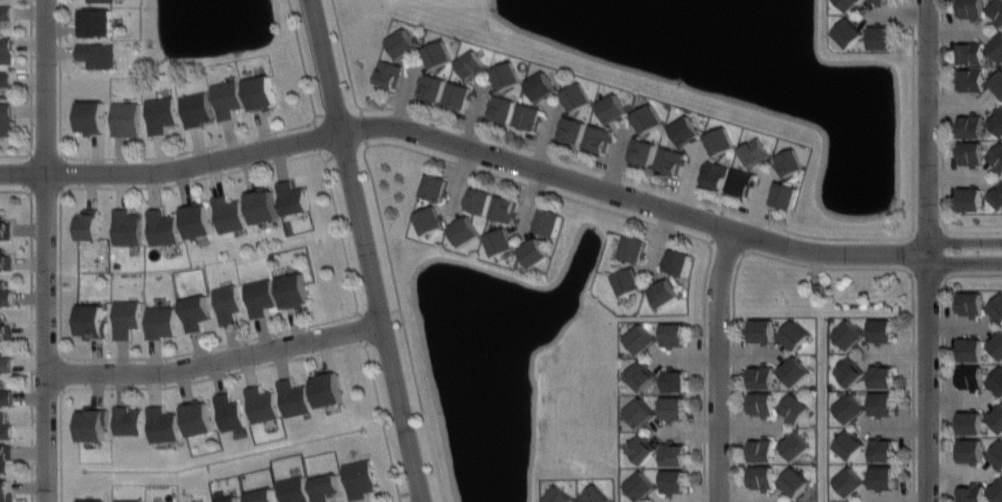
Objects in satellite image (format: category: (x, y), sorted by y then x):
building: (882, 0)
building: (102, 1)
building: (849, 4)
building: (971, 9)
building: (997, 10)
building: (6, 12)
building: (95, 21)
building: (849, 32)
building: (882, 37)
building: (403, 43)
building: (997, 47)
building: (5, 49)
building: (971, 52)
building: (439, 53)
building: (98, 54)
road: (301, 57)
building: (472, 65)
road: (60, 72)
building: (389, 73)
road: (30, 74)
building: (508, 75)
building: (5, 78)
building: (970, 80)
building: (997, 84)
building: (543, 86)
building: (433, 87)
building: (261, 92)
building: (460, 95)
building: (578, 97)
building: (227, 98)
building: (196, 108)
building: (503, 108)
building: (612, 108)
building: (161, 114)
building: (91, 116)
building: (530, 116)
building: (6, 118)
building: (126, 118)
building: (647, 118)
building: (997, 122)
building: (972, 126)
building: (572, 129)
building: (686, 130)
building: (599, 137)
building: (720, 140)
road: (942, 142)
road: (187, 150)
building: (643, 150)
building: (756, 151)
building: (971, 152)
road: (17, 154)
building: (997, 157)
road: (503, 158)
building: (671, 160)
building: (790, 162)
building: (715, 173)
building: (741, 182)
building: (436, 187)
road: (17, 190)
building: (785, 195)
building: (997, 196)
building: (292, 198)
road: (693, 198)
building: (971, 199)
building: (480, 201)
building: (263, 206)
building: (505, 208)
building: (227, 213)
building: (429, 219)
building: (198, 221)
building: (548, 222)
building: (89, 224)
road: (663, 226)
building: (127, 227)
building: (163, 227)
building: (6, 230)
building: (465, 230)
building: (500, 241)
building: (633, 248)
road: (47, 251)
road: (365, 251)
road: (929, 251)
building: (535, 252)
building: (6, 260)
building: (677, 262)
road: (815, 265)
building: (628, 281)
power substation: (817, 287)
building: (293, 289)
building: (663, 292)
building: (5, 294)
building: (260, 296)
building: (971, 303)
building: (227, 304)
building: (996, 309)
building: (195, 312)
building: (127, 318)
road: (332, 319)
building: (160, 320)
building: (91, 321)
road: (403, 321)
building: (762, 330)
building: (882, 330)
building: (6, 331)
building: (672, 334)
building: (850, 334)
building: (794, 335)
building: (640, 339)
building: (997, 345)
building: (972, 349)
road: (31, 350)
road: (216, 361)
road: (942, 361)
building: (6, 363)
road: (719, 364)
road: (238, 370)
building: (796, 371)
building: (850, 371)
building: (641, 374)
building: (882, 375)
building: (762, 376)
building: (972, 377)
building: (672, 379)
building: (997, 383)
building: (327, 387)
building: (5, 396)
building: (294, 397)
building: (762, 403)
building: (882, 403)
building: (261, 404)
building: (673, 407)
building: (795, 408)
building: (851, 409)
building: (229, 411)
building: (641, 412)
building: (127, 418)
building: (201, 418)
building: (997, 418)
building: (971, 422)
building: (93, 423)
building: (163, 424)
building: (5, 426)
building: (796, 444)
building: (850, 444)
building: (641, 448)
building: (883, 448)
building: (762, 449)
building: (972, 450)
building: (673, 452)
building: (5, 454)
building: (997, 455)
building: (763, 476)
building: (883, 477)
building: (360, 479)
building: (674, 481)
building: (850, 481)
building: (795, 482)
building: (327, 486)
building: (641, 486)
building: (292, 489)
building: (5, 490)
building: (996, 491)
building: (971, 492)
building: (260, 494)
building: (560, 495)
building: (596, 495)
building: (226, 497)
building: (127, 499)
building: (92, 501)

